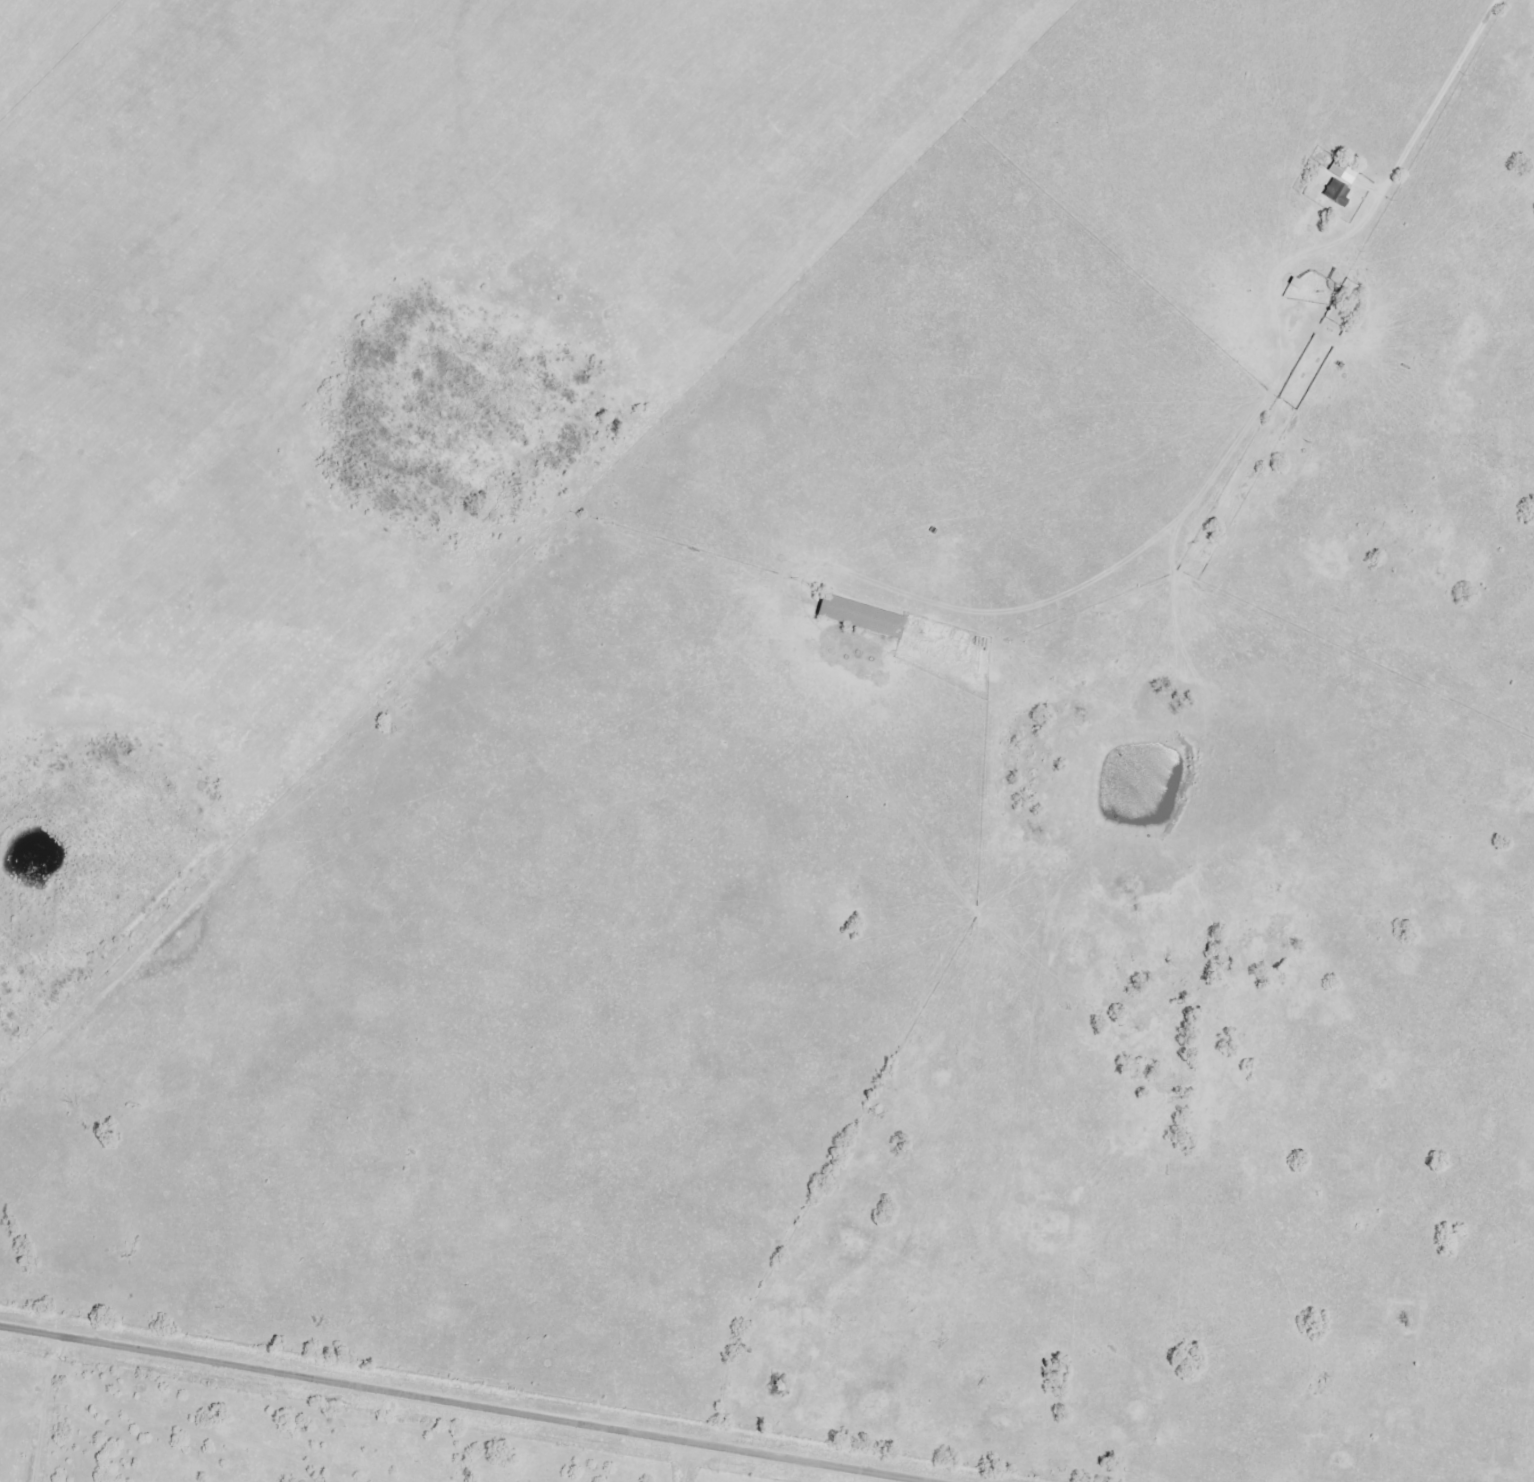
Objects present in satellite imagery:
road: (1437, 98)
building: (1337, 169)
building: (1337, 193)
building: (862, 617)
road: (458, 1404)

